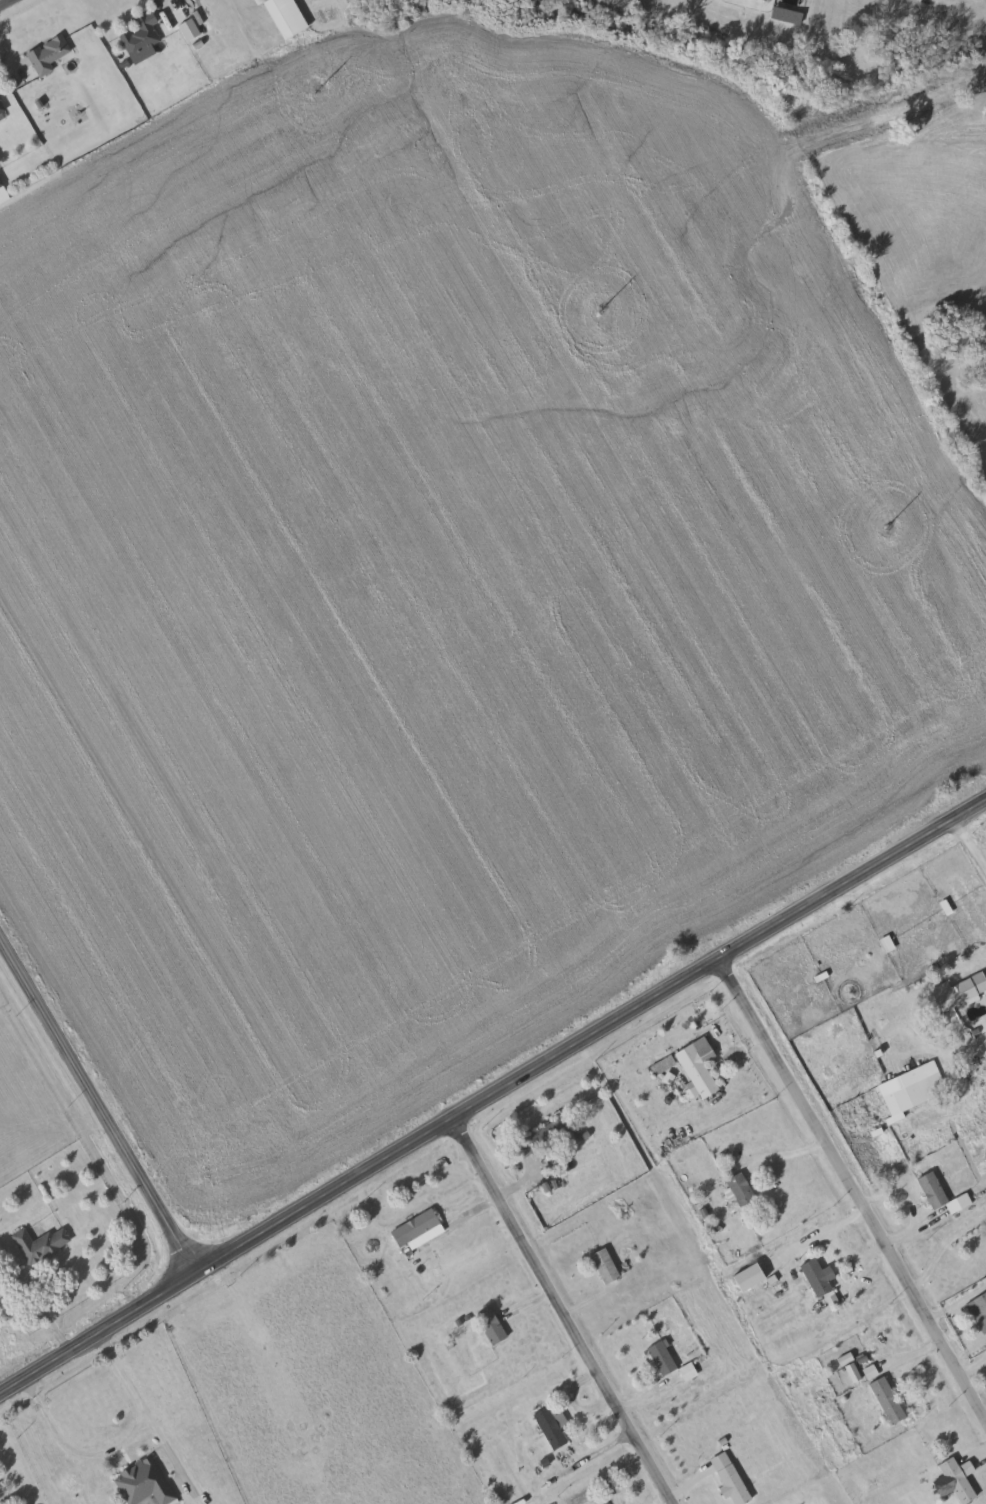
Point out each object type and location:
road: (171, 2)
road: (5, 3)
building: (288, 16)
building: (141, 35)
building: (48, 53)
power tower: (313, 91)
building: (1, 105)
building: (0, 159)
building: (3, 190)
power tower: (598, 309)
power tower: (883, 529)
road: (970, 839)
building: (960, 991)
road: (952, 1050)
building: (698, 1071)
building: (913, 1089)
road: (490, 1091)
road: (92, 1114)
building: (548, 1135)
road: (782, 1153)
road: (850, 1188)
building: (742, 1189)
building: (934, 1190)
road: (911, 1205)
road: (474, 1209)
building: (416, 1227)
building: (42, 1244)
road: (943, 1249)
building: (606, 1265)
building: (819, 1280)
road: (547, 1294)
building: (982, 1302)
road: (957, 1304)
road: (561, 1309)
building: (492, 1325)
road: (975, 1337)
building: (663, 1356)
building: (889, 1398)
road: (137, 1399)
road: (74, 1449)
road: (597, 1453)
building: (950, 1475)
building: (731, 1478)
building: (146, 1481)
road: (9, 1486)
road: (661, 1499)

